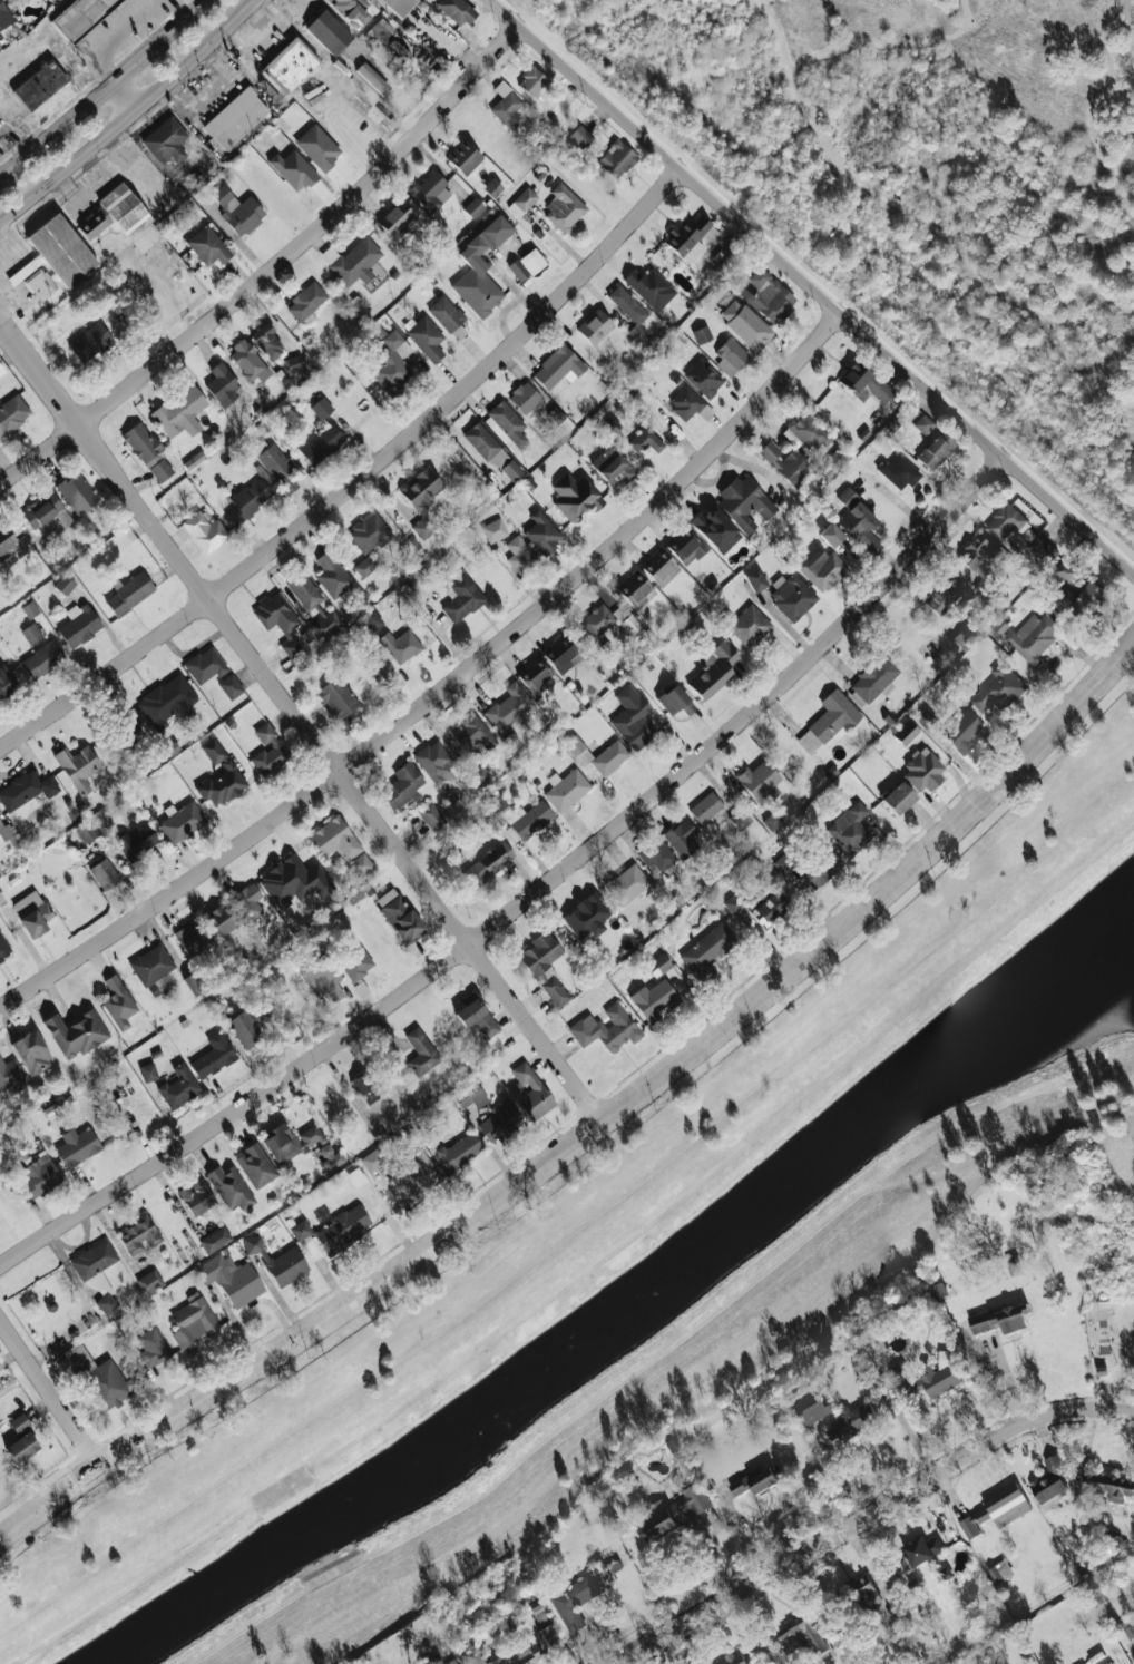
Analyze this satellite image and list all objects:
road: (196, 2)
building: (398, 6)
building: (351, 9)
building: (456, 11)
building: (4, 16)
building: (79, 17)
road: (1130, 28)
building: (379, 30)
building: (328, 31)
road: (110, 39)
road: (889, 43)
building: (289, 65)
road: (1130, 74)
building: (372, 78)
road: (1122, 80)
building: (39, 86)
building: (539, 87)
road: (213, 89)
road: (104, 91)
road: (127, 97)
building: (506, 106)
road: (130, 117)
building: (235, 118)
building: (580, 136)
building: (165, 140)
road: (1095, 145)
building: (317, 146)
building: (463, 157)
building: (617, 159)
building: (293, 168)
building: (492, 187)
park: (921, 189)
building: (431, 192)
building: (522, 202)
building: (473, 207)
building: (563, 207)
building: (237, 211)
building: (130, 217)
road: (919, 218)
building: (395, 219)
building: (92, 223)
building: (691, 236)
building: (207, 245)
building: (61, 249)
building: (356, 261)
building: (526, 264)
building: (480, 268)
road: (273, 270)
building: (39, 284)
building: (647, 285)
road: (812, 287)
building: (769, 296)
building: (306, 302)
building: (627, 306)
building: (446, 313)
building: (595, 327)
building: (701, 334)
building: (426, 337)
building: (89, 342)
building: (266, 342)
building: (731, 356)
building: (248, 362)
building: (295, 363)
building: (392, 363)
building: (557, 368)
building: (1, 370)
building: (703, 378)
building: (864, 383)
building: (222, 385)
road: (1111, 391)
building: (524, 397)
building: (688, 403)
building: (322, 408)
building: (12, 412)
building: (180, 412)
building: (507, 422)
building: (923, 424)
building: (808, 432)
building: (645, 440)
building: (322, 444)
building: (936, 450)
building: (492, 451)
building: (147, 452)
building: (786, 463)
building: (274, 464)
building: (612, 467)
building: (899, 472)
road: (359, 478)
building: (77, 492)
building: (575, 496)
building: (847, 497)
building: (421, 499)
building: (744, 502)
building: (247, 503)
building: (48, 516)
building: (860, 526)
building: (715, 529)
building: (493, 530)
building: (204, 531)
building: (541, 531)
building: (369, 532)
building: (831, 535)
building: (7, 544)
building: (685, 546)
building: (519, 555)
building: (980, 561)
building: (365, 566)
building: (659, 567)
building: (821, 568)
building: (332, 575)
building: (755, 579)
building: (635, 589)
building: (304, 590)
building: (128, 594)
building: (949, 594)
building: (792, 596)
building: (461, 598)
building: (1084, 599)
building: (30, 609)
building: (326, 618)
building: (277, 619)
building: (372, 620)
building: (608, 620)
building: (79, 624)
building: (747, 625)
building: (31, 633)
building: (1034, 637)
building: (400, 645)
building: (559, 654)
building: (42, 659)
building: (205, 664)
building: (713, 671)
building: (534, 675)
building: (6, 681)
building: (872, 681)
building: (229, 686)
road: (443, 687)
building: (998, 688)
building: (338, 701)
building: (674, 701)
building: (168, 702)
building: (509, 707)
building: (632, 717)
building: (833, 717)
building: (926, 717)
road: (303, 720)
building: (128, 726)
building: (962, 732)
building: (473, 733)
building: (906, 733)
building: (268, 750)
building: (597, 754)
building: (433, 762)
building: (77, 767)
building: (922, 771)
building: (219, 776)
building: (759, 780)
building: (402, 786)
building: (26, 789)
building: (566, 789)
building: (898, 799)
building: (705, 807)
building: (430, 815)
building: (519, 815)
building: (740, 818)
building: (775, 818)
building: (180, 821)
building: (850, 828)
building: (6, 831)
building: (87, 831)
building: (682, 838)
building: (334, 839)
building: (137, 841)
building: (658, 857)
building: (487, 863)
building: (361, 864)
building: (105, 873)
building: (294, 881)
building: (627, 884)
road: (881, 893)
road: (531, 897)
building: (246, 901)
building: (735, 902)
building: (769, 909)
building: (31, 912)
building: (399, 916)
building: (587, 916)
building: (221, 920)
building: (192, 938)
building: (3, 948)
building: (707, 948)
building: (540, 956)
building: (356, 965)
building: (658, 965)
building: (153, 966)
building: (324, 978)
building: (194, 982)
building: (555, 991)
building: (653, 1000)
building: (118, 1002)
building: (476, 1016)
building: (243, 1028)
building: (606, 1028)
building: (75, 1032)
building: (31, 1051)
building: (420, 1053)
building: (213, 1056)
building: (148, 1071)
building: (10, 1076)
building: (178, 1086)
building: (368, 1086)
building: (529, 1092)
building: (470, 1096)
building: (499, 1119)
building: (295, 1143)
building: (76, 1146)
building: (460, 1151)
building: (372, 1159)
building: (255, 1165)
building: (419, 1173)
building: (38, 1177)
building: (355, 1177)
building: (229, 1187)
building: (196, 1196)
building: (301, 1230)
building: (342, 1230)
building: (138, 1234)
building: (215, 1239)
building: (94, 1259)
building: (277, 1261)
building: (1014, 1266)
building: (231, 1279)
building: (149, 1281)
building: (100, 1284)
building: (106, 1303)
river: (625, 1306)
building: (1001, 1319)
building: (193, 1321)
road: (305, 1332)
building: (151, 1347)
building: (92, 1376)
building: (925, 1379)
road: (51, 1388)
building: (814, 1409)
building: (851, 1421)
building: (19, 1422)
building: (21, 1447)
road: (842, 1472)
building: (757, 1479)
building: (1050, 1484)
building: (1112, 1487)
building: (998, 1509)
building: (673, 1513)
road: (870, 1513)
building: (923, 1549)
building: (998, 1570)
building: (867, 1592)
building: (580, 1594)
building: (1127, 1628)
building: (798, 1634)
building: (507, 1655)
building: (736, 1660)
building: (364, 1662)
building: (452, 1662)

